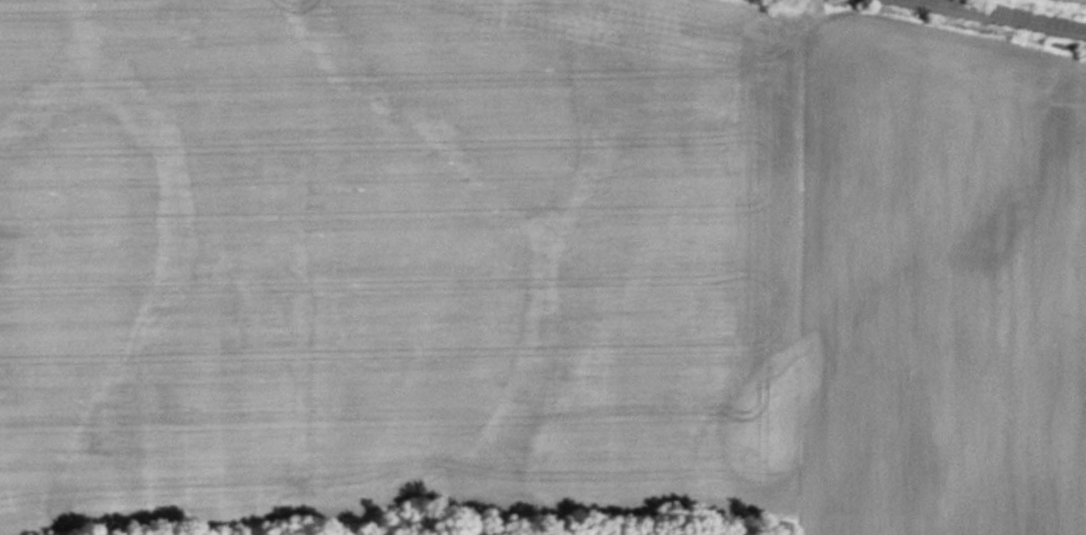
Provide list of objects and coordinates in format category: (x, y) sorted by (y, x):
railway: (1007, 14)

